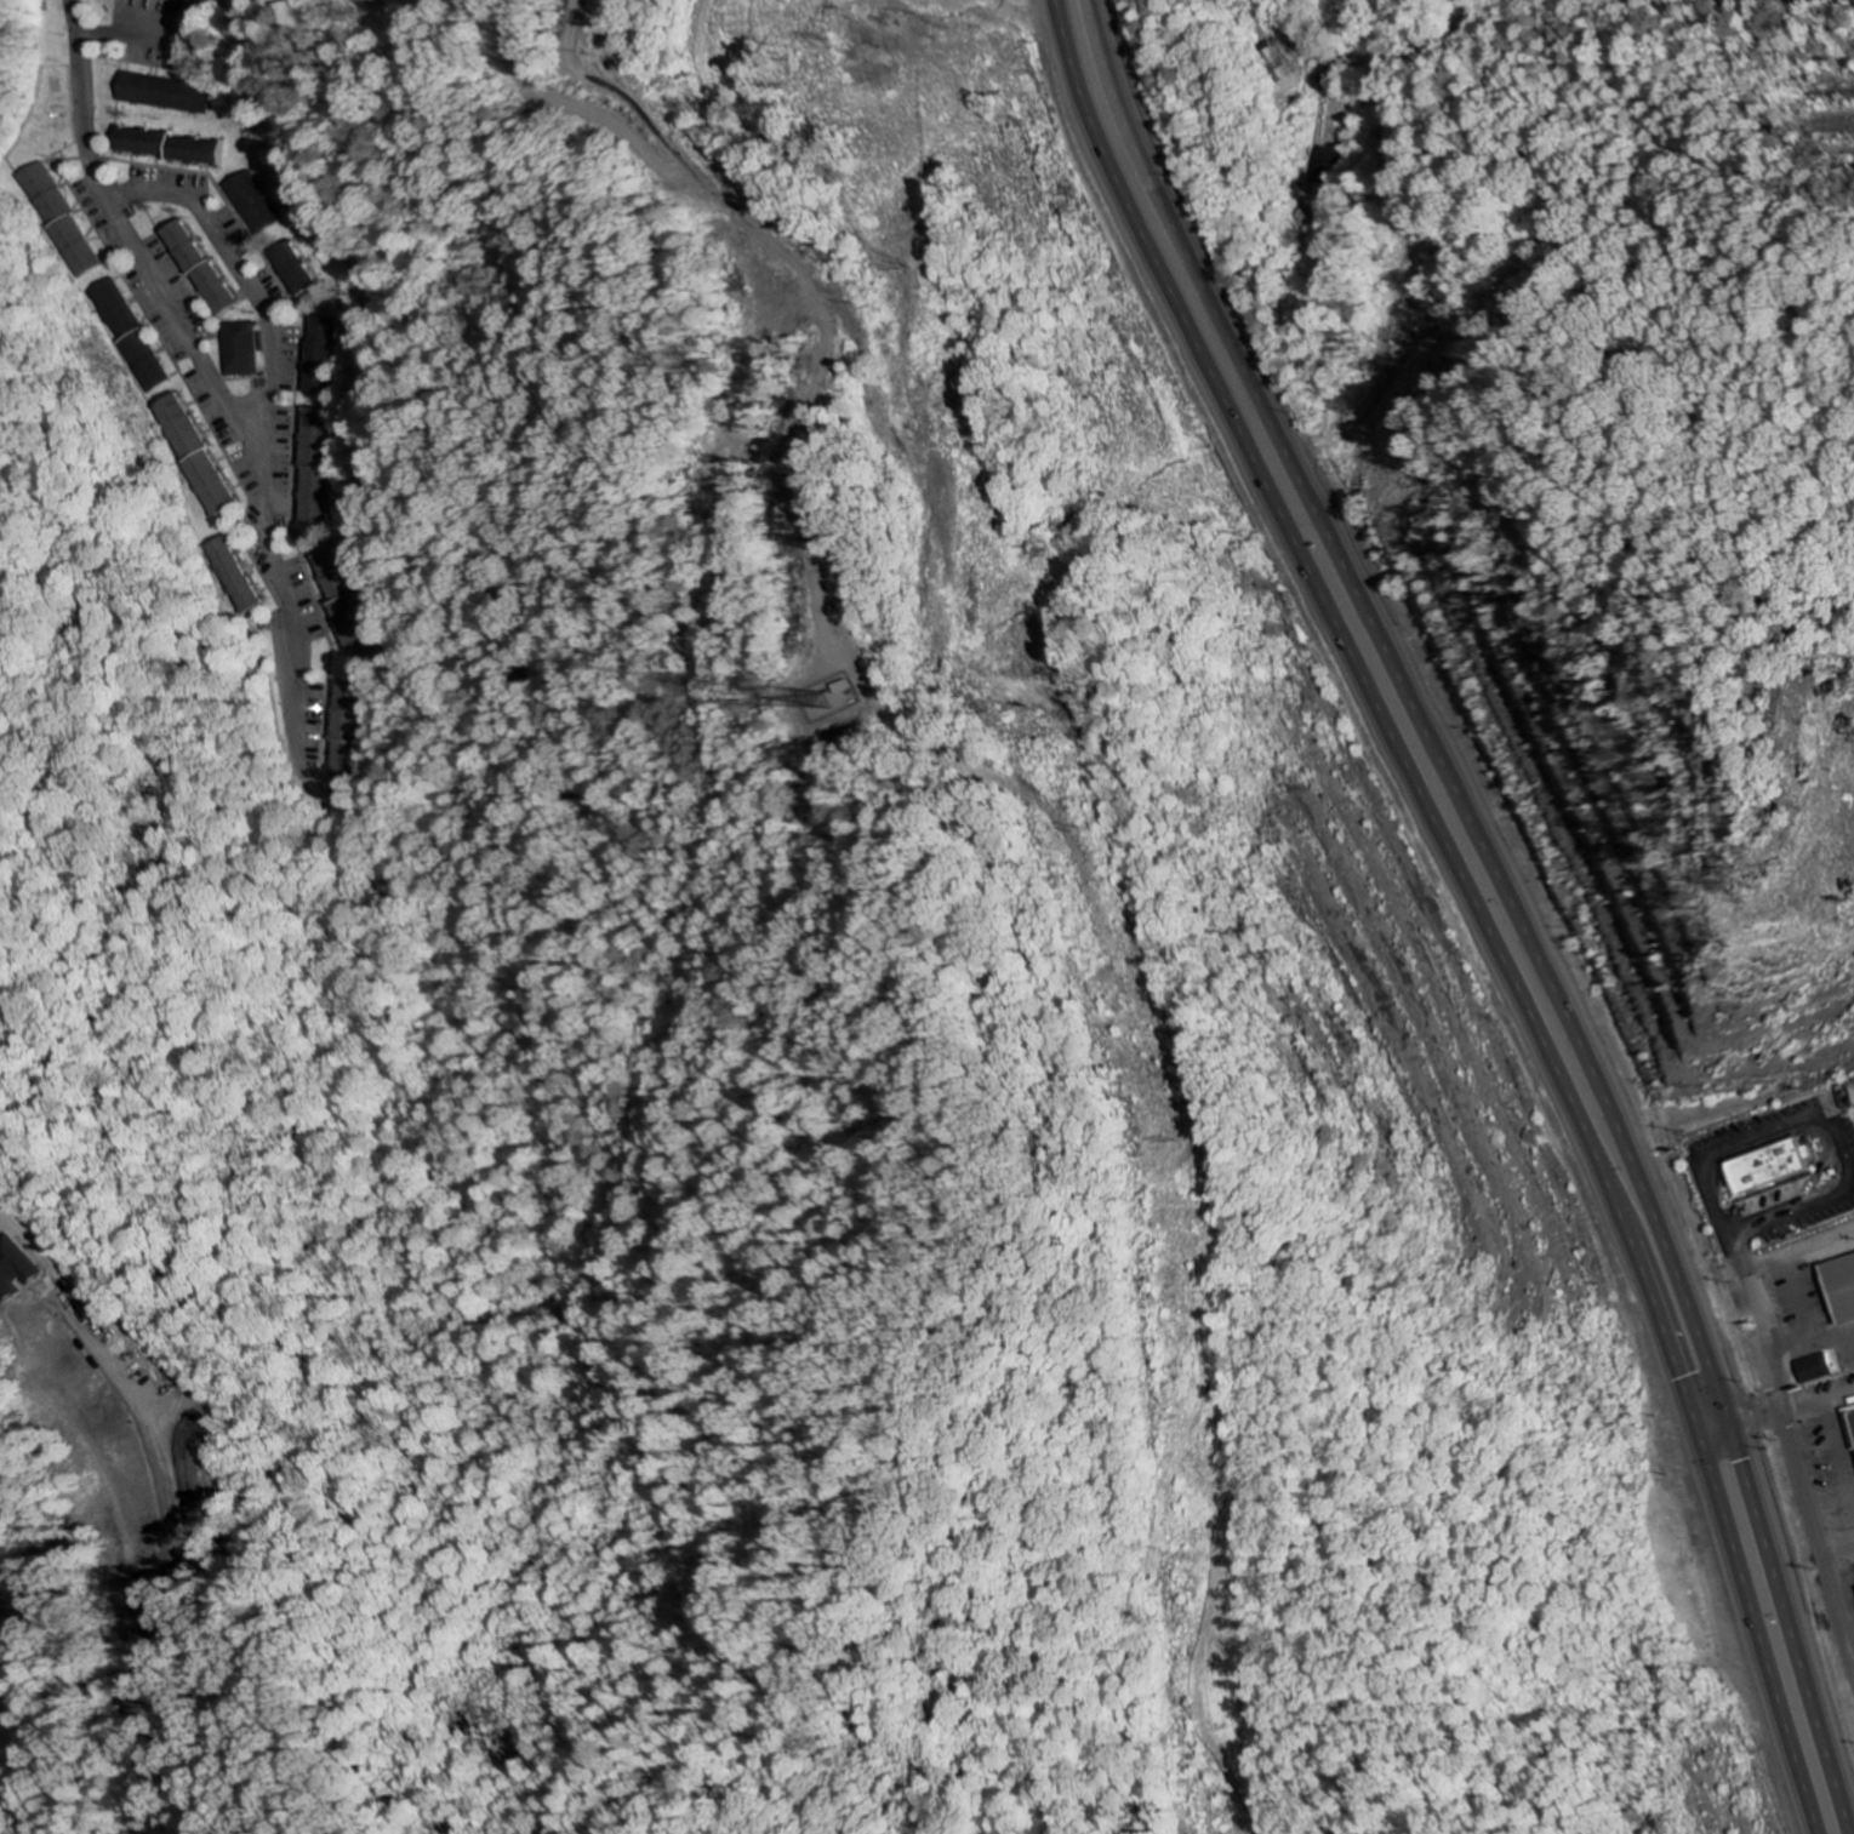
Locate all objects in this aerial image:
building: (1274, 62)
road: (1352, 63)
building: (167, 93)
road: (82, 104)
railway: (1585, 121)
building: (178, 145)
building: (257, 204)
building: (64, 221)
power tower: (909, 267)
building: (210, 268)
road: (241, 270)
building: (300, 270)
road: (176, 312)
building: (131, 335)
building: (245, 349)
building: (324, 356)
building: (186, 427)
building: (318, 468)
road: (273, 543)
building: (240, 576)
building: (344, 601)
building: (350, 713)
power tower: (1091, 823)
road: (1513, 897)
road: (1470, 902)
power tower: (1185, 1137)
building: (1772, 1162)
building: (1841, 1285)
building: (1818, 1369)
building: (1850, 1418)
road: (1808, 1520)

